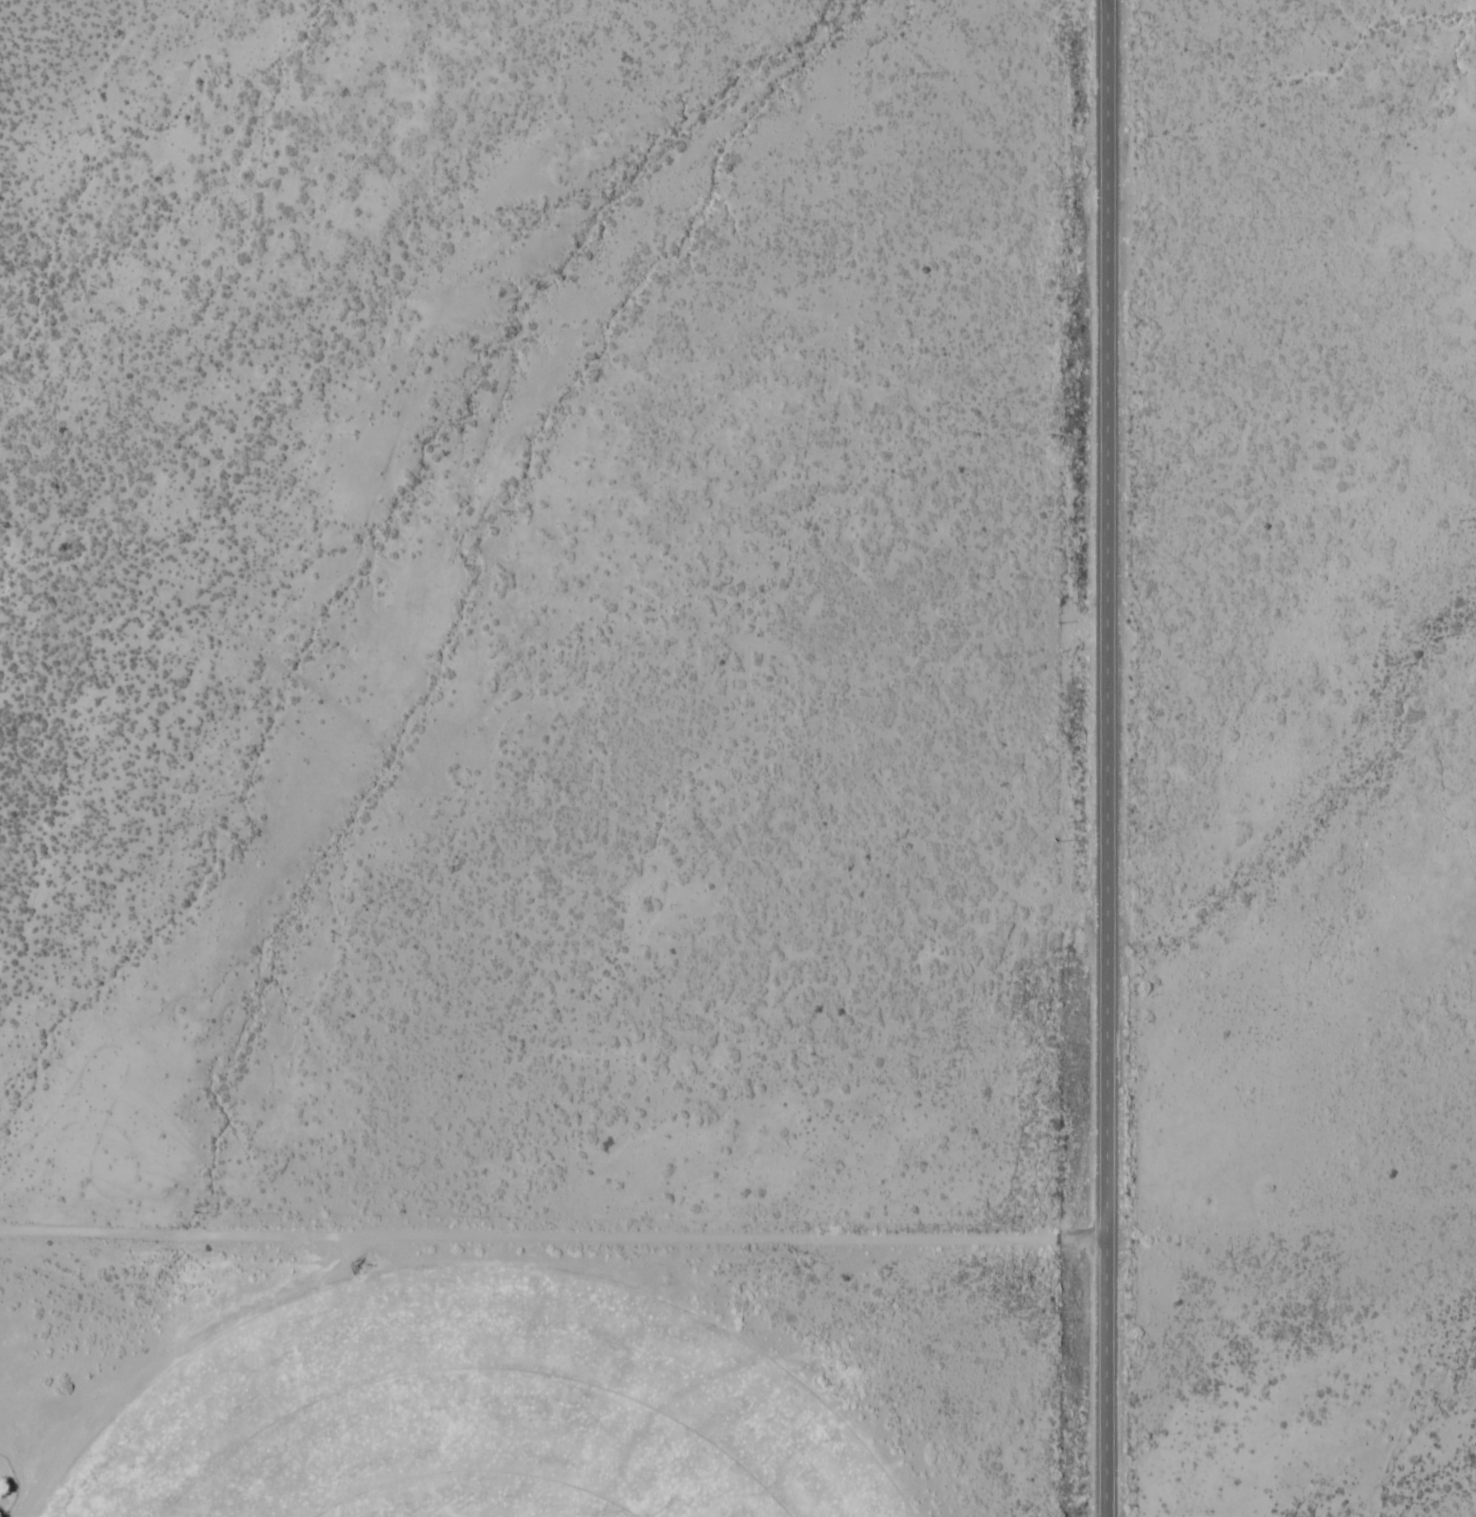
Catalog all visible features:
road: (551, 72)
road: (1102, 758)
road: (550, 1237)
crop: (485, 1415)

